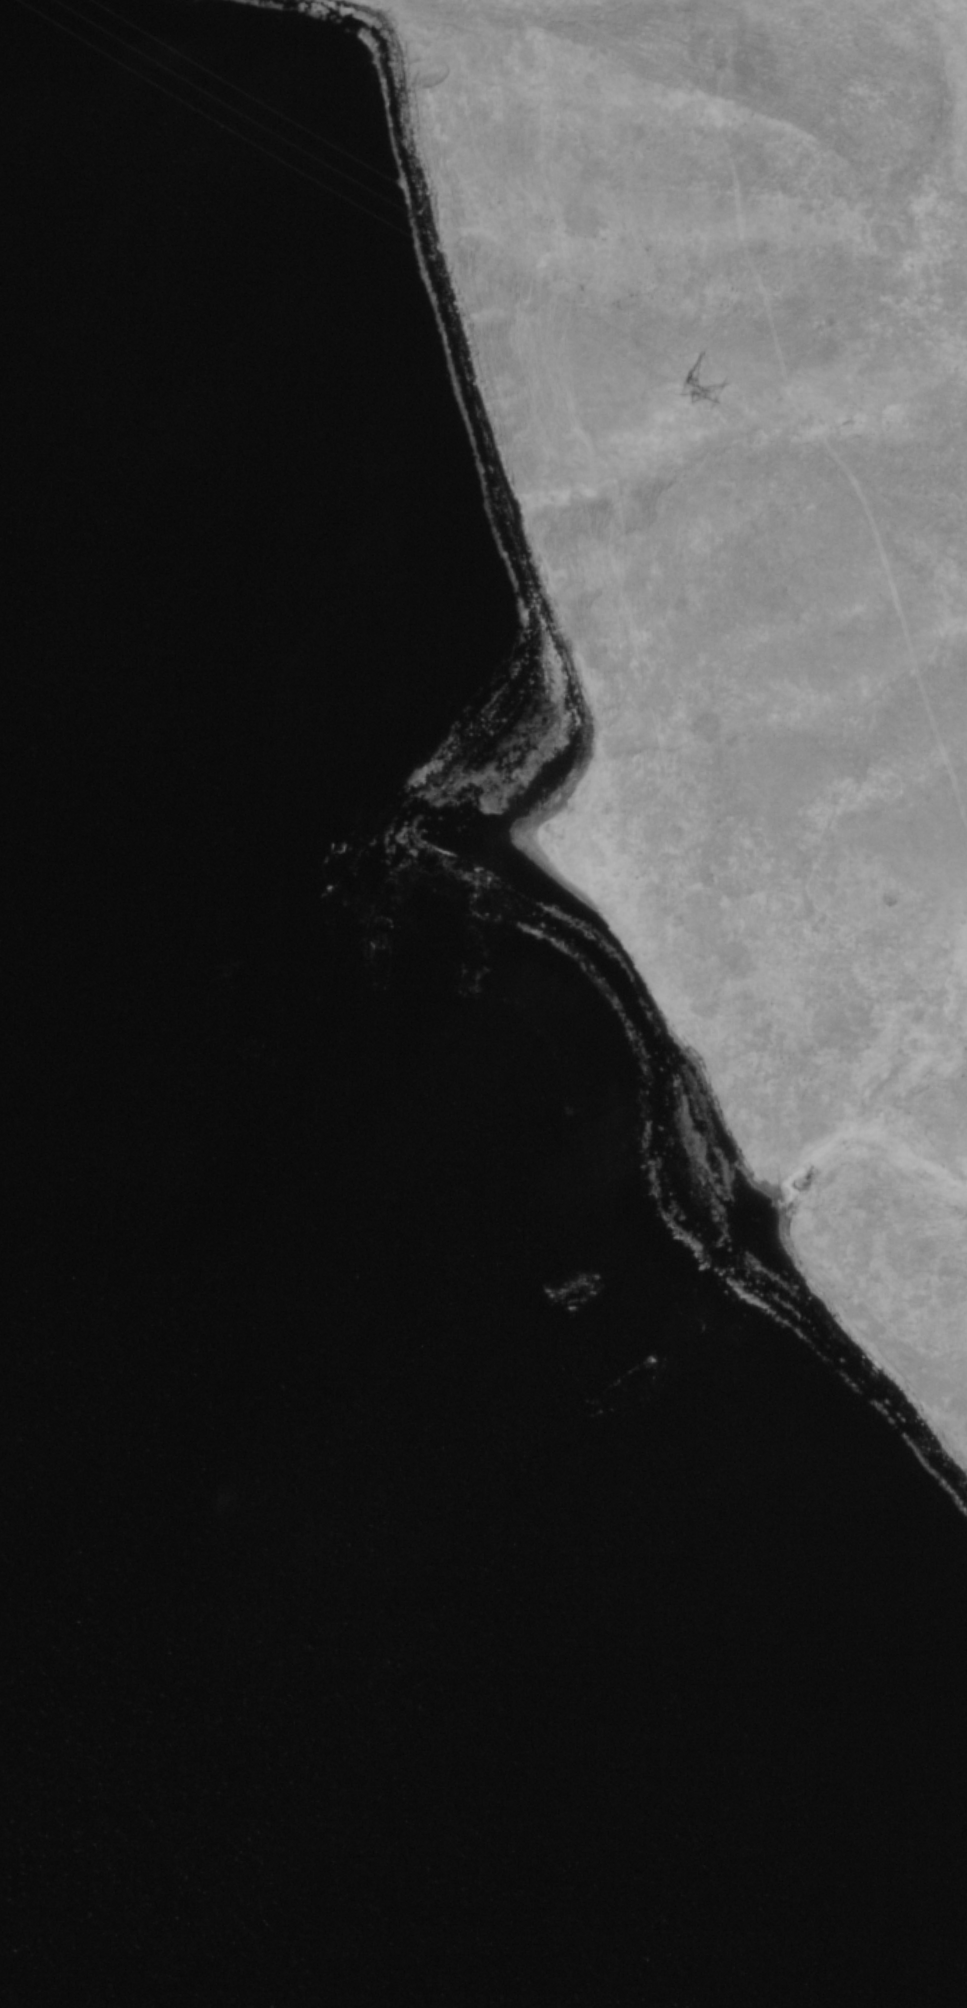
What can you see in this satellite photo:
power tower: (688, 375)

